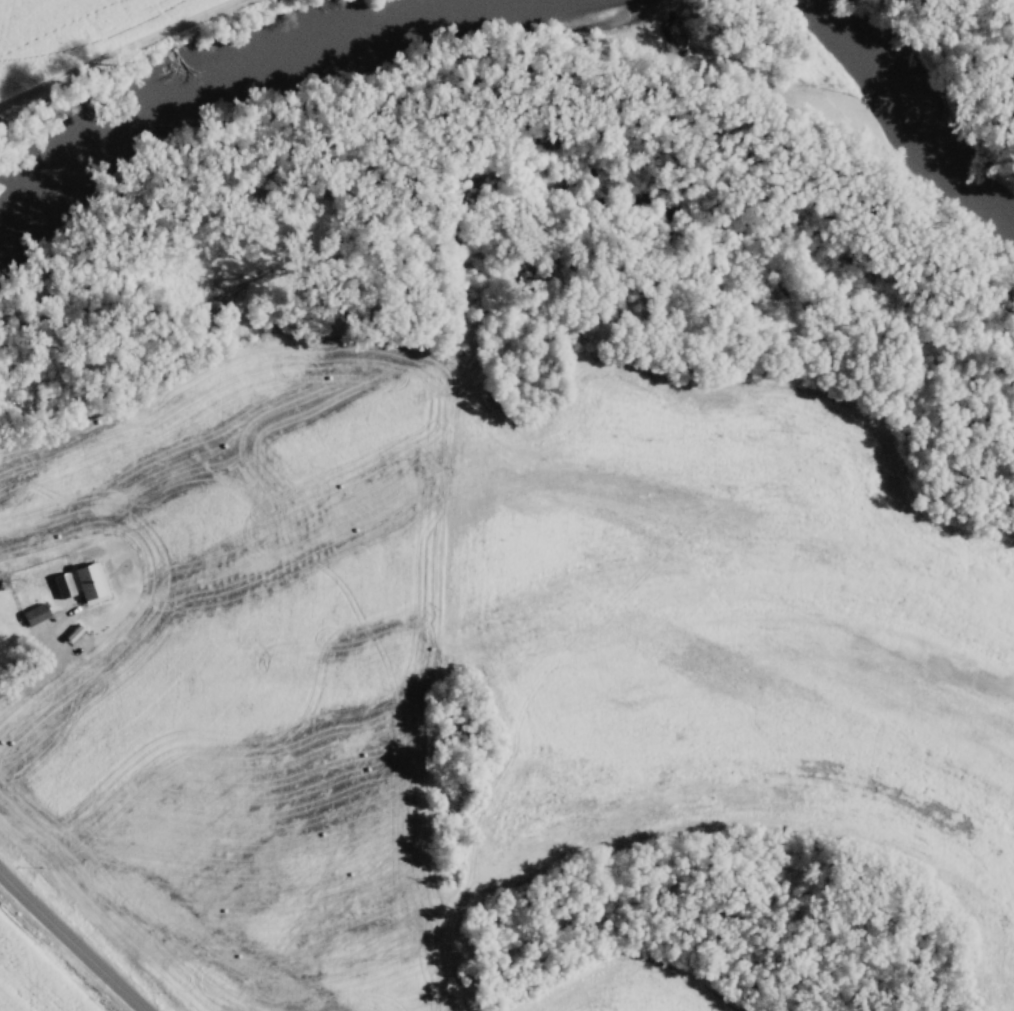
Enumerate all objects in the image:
river: (910, 84)
river: (193, 107)
building: (3, 638)
road: (71, 942)

